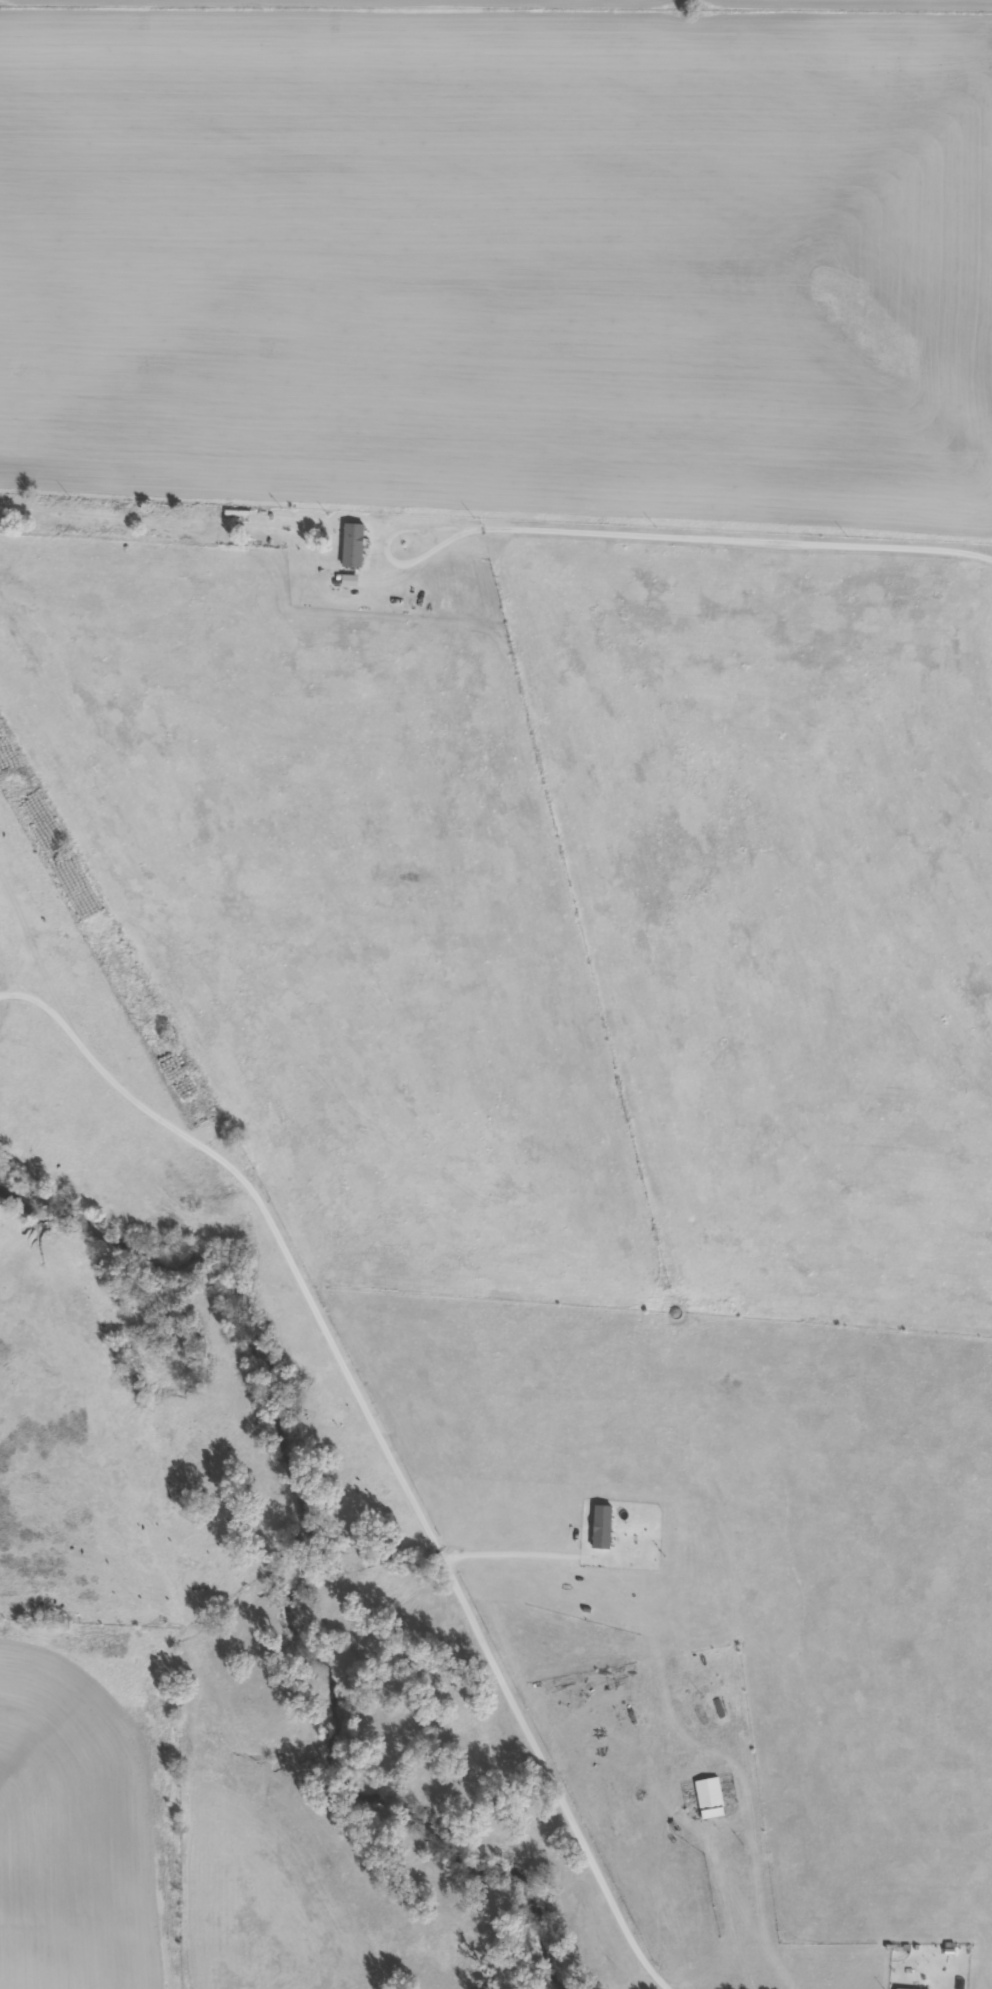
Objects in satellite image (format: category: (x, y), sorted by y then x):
building: (712, 1797)
building: (915, 1988)

